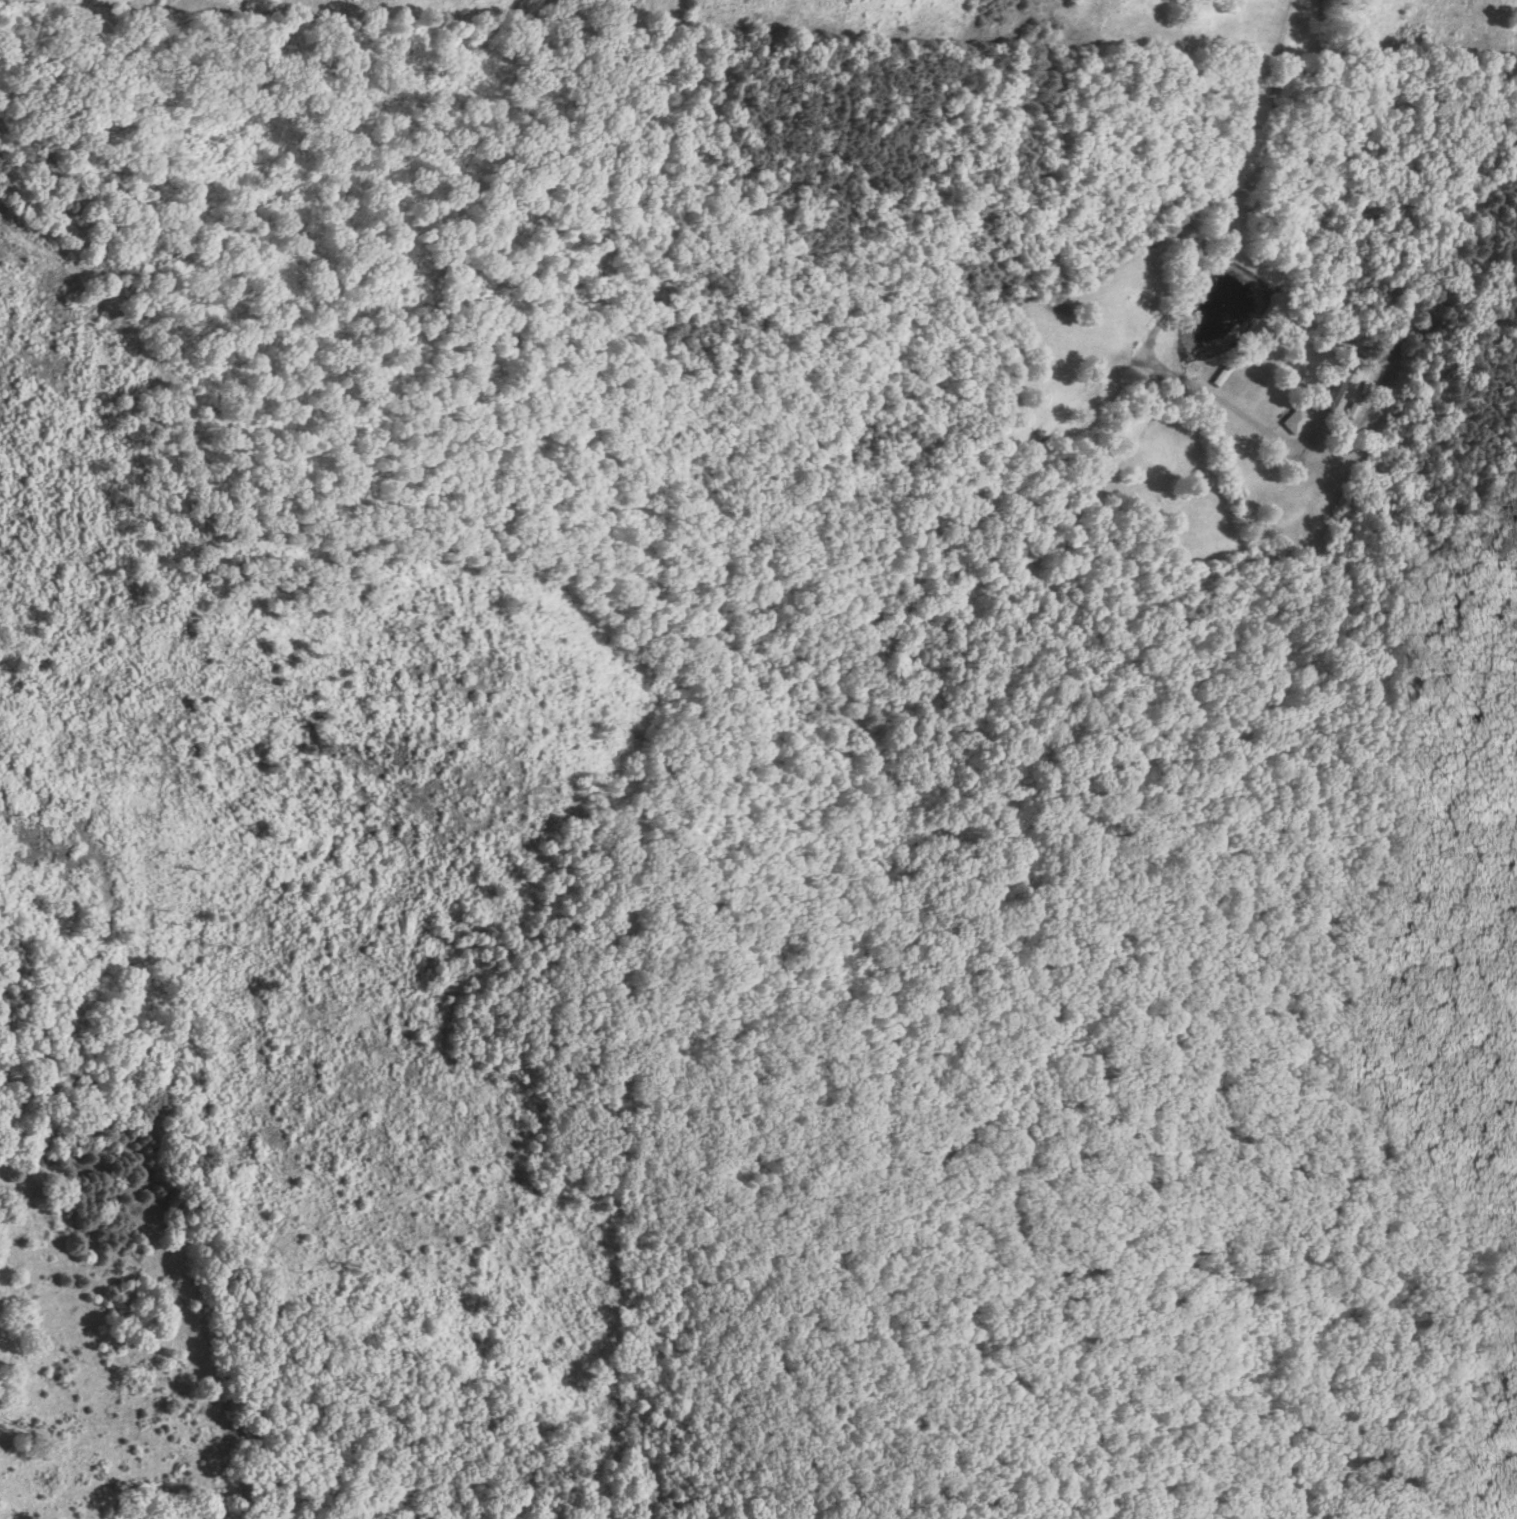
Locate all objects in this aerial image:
building: (1293, 421)

